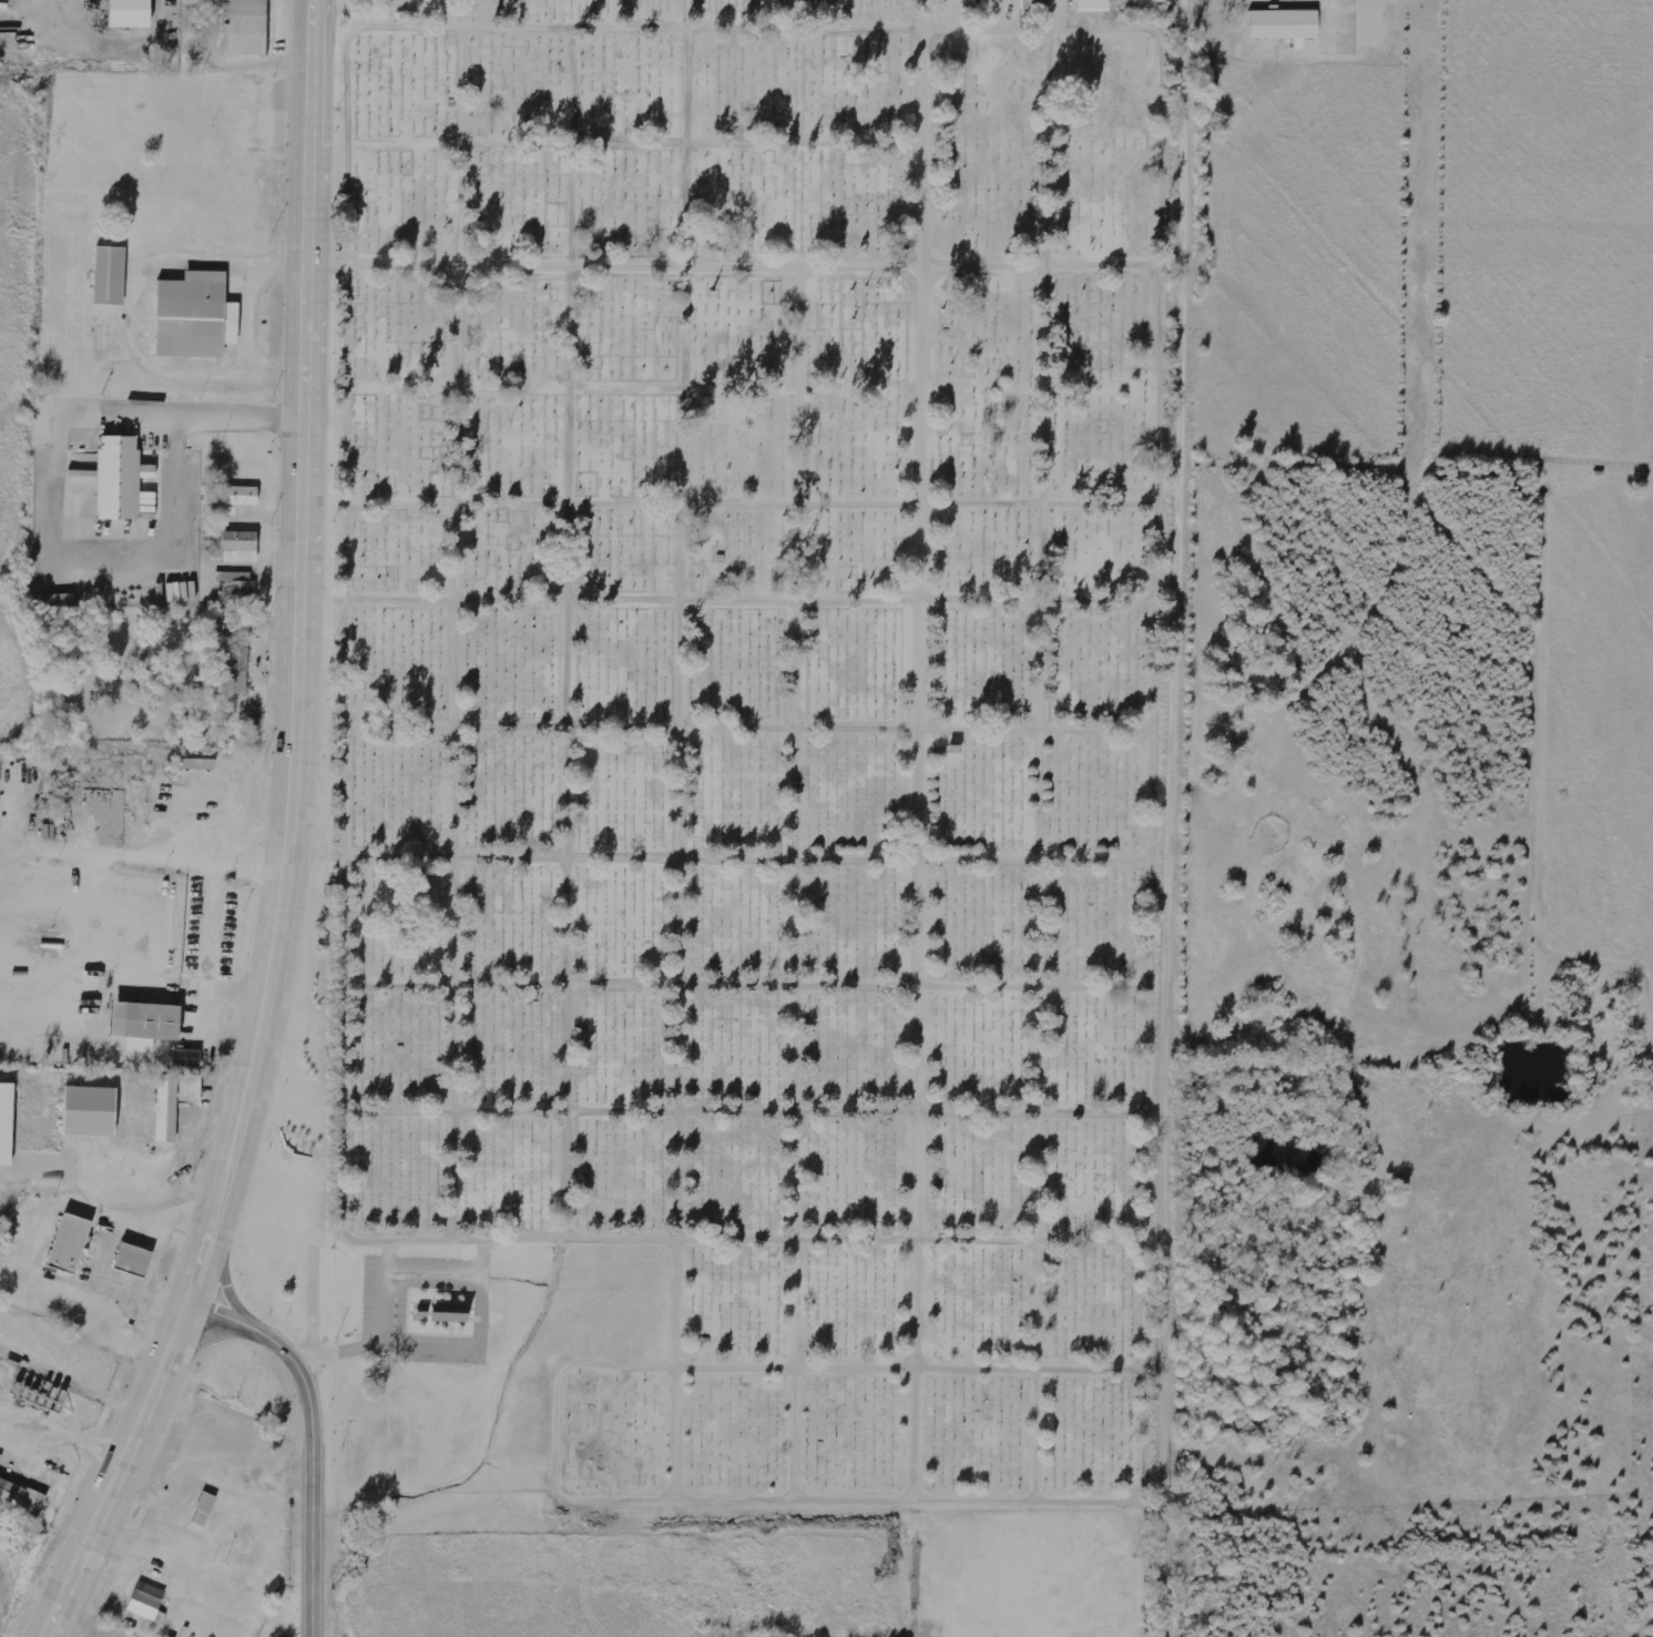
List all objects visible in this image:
building: (1028, 1)
building: (1093, 6)
building: (127, 14)
building: (1284, 26)
building: (246, 28)
road: (792, 32)
road: (747, 270)
building: (110, 275)
building: (194, 315)
building: (118, 477)
building: (241, 495)
building: (235, 546)
road: (1041, 561)
building: (235, 587)
road: (741, 601)
road: (916, 618)
road: (456, 634)
building: (237, 670)
park: (743, 756)
building: (197, 764)
road: (1176, 817)
road: (292, 841)
road: (733, 852)
road: (165, 862)
road: (224, 993)
building: (144, 1021)
road: (1037, 1044)
road: (771, 1045)
building: (183, 1058)
building: (190, 1089)
building: (166, 1108)
building: (89, 1111)
building: (6, 1123)
road: (166, 1166)
road: (631, 1236)
building: (70, 1245)
road: (101, 1248)
building: (132, 1261)
building: (440, 1313)
road: (313, 1433)
road: (63, 1435)
building: (21, 1496)
building: (204, 1509)
building: (147, 1603)

